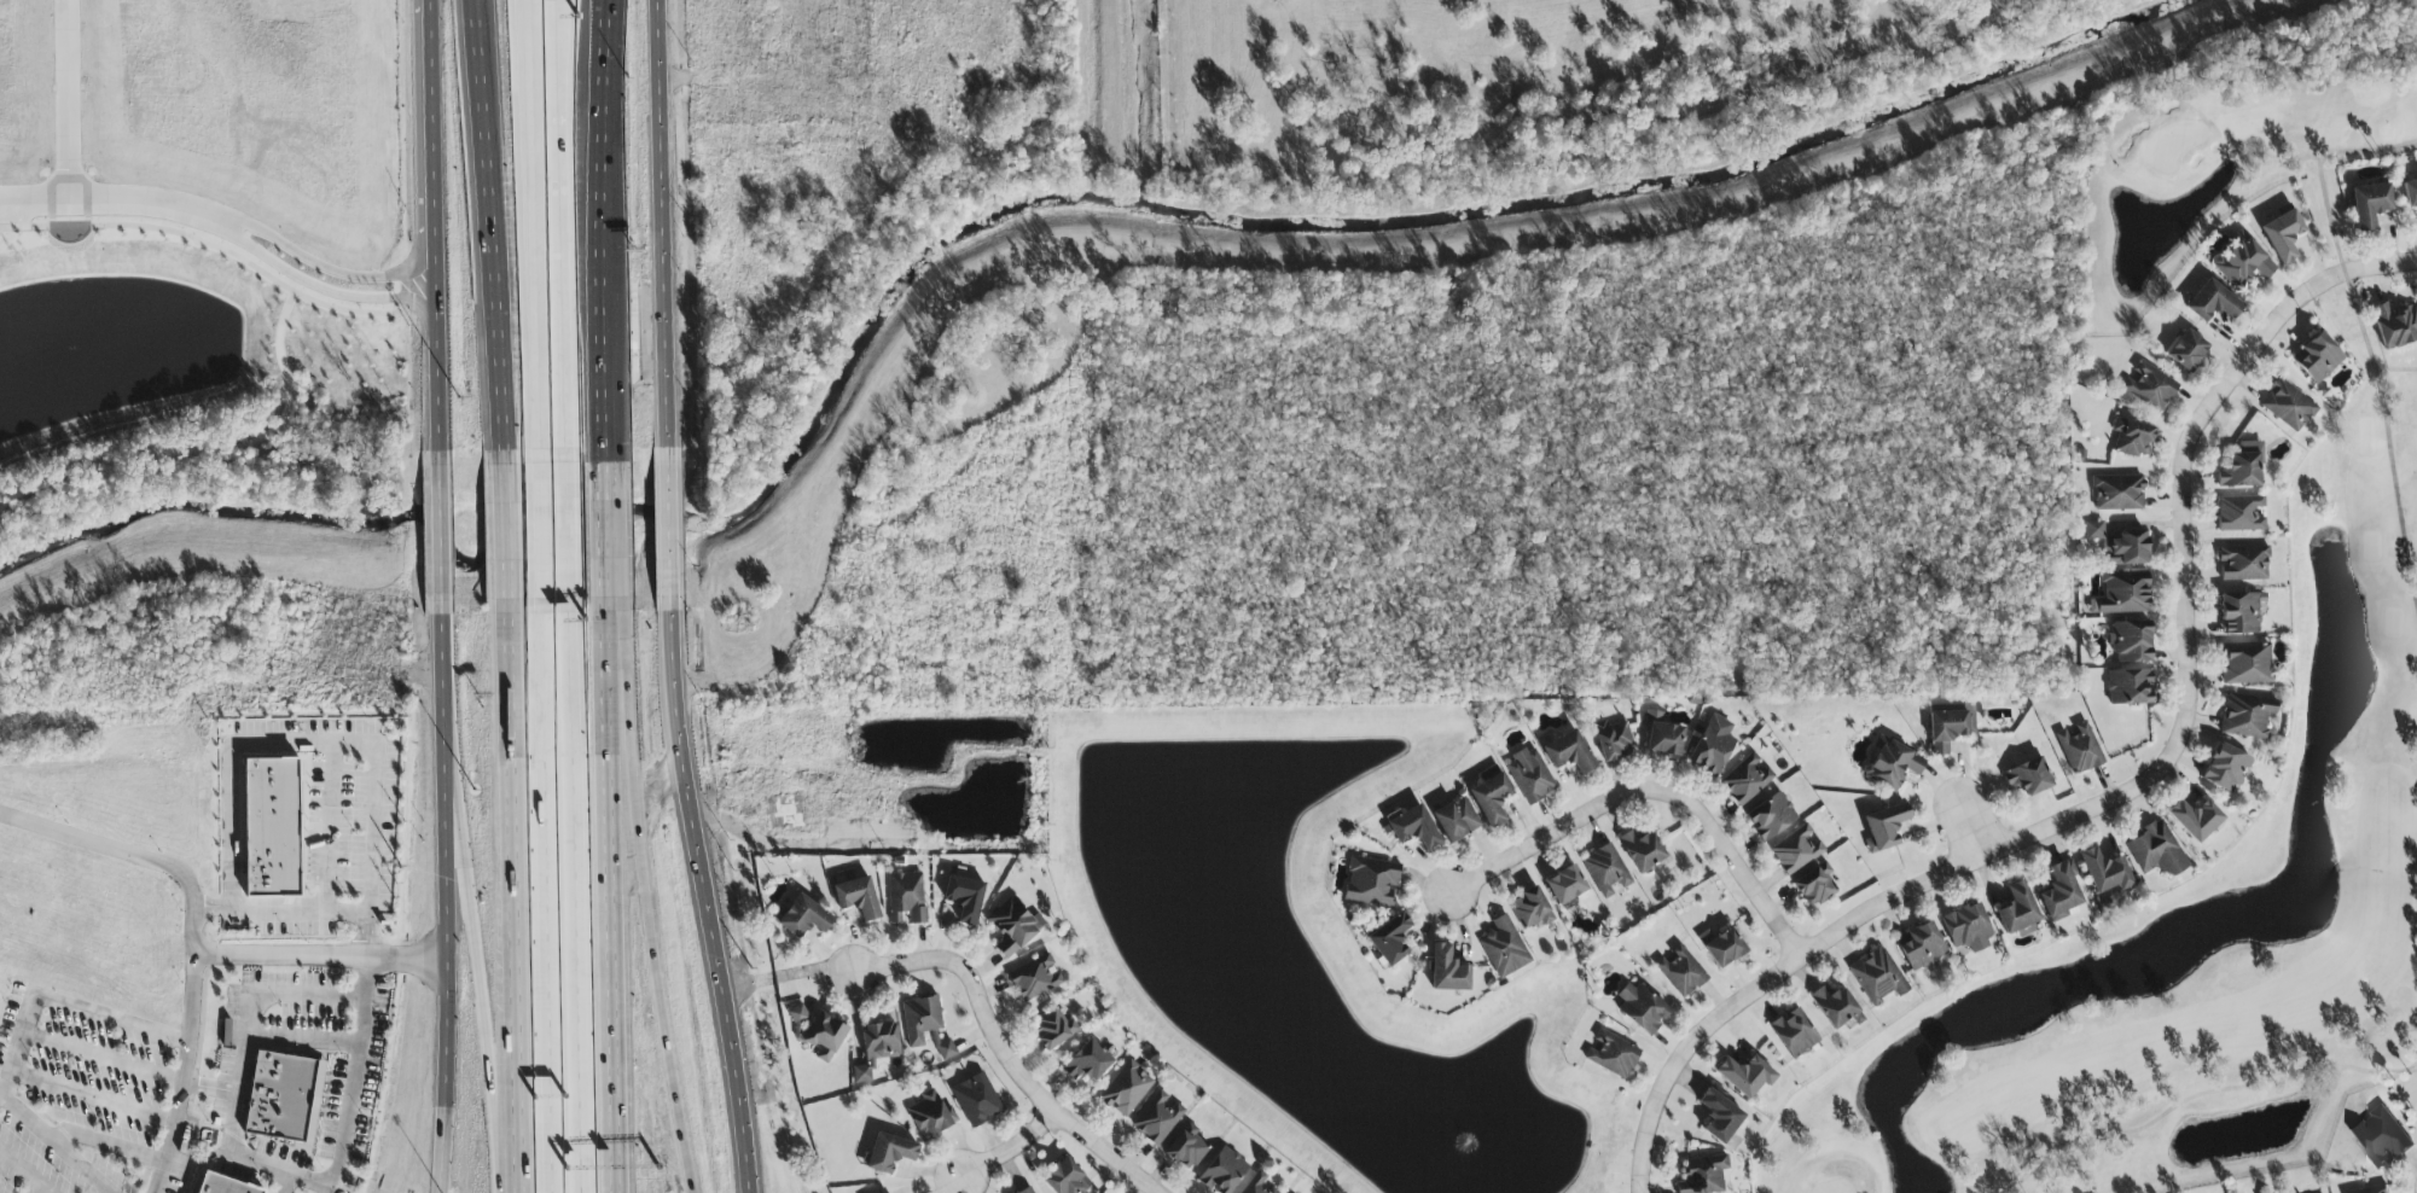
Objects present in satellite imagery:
road: (556, 62)
road: (559, 62)
park: (1522, 85)
road: (68, 103)
road: (600, 127)
road: (610, 127)
road: (429, 138)
road: (480, 153)
road: (488, 153)
river: (1669, 184)
building: (2410, 194)
building: (2369, 205)
road: (114, 206)
road: (666, 225)
road: (530, 228)
building: (2282, 235)
building: (2241, 263)
road: (2381, 266)
road: (325, 269)
road: (559, 287)
road: (320, 291)
building: (2212, 303)
building: (2394, 326)
road: (606, 351)
building: (2186, 351)
building: (2317, 359)
road: (435, 362)
road: (499, 378)
building: (2149, 386)
building: (2287, 407)
building: (2132, 438)
building: (2242, 467)
building: (2117, 494)
building: (2241, 514)
road: (567, 529)
river: (618, 529)
road: (610, 530)
road: (669, 530)
road: (535, 531)
road: (506, 533)
road: (438, 534)
building: (2119, 546)
building: (2243, 564)
building: (2122, 594)
building: (2239, 615)
park: (2353, 627)
building: (2131, 642)
building: (2247, 664)
building: (2128, 687)
road: (2190, 696)
building: (2245, 716)
building: (1948, 729)
building: (1613, 740)
building: (1663, 740)
building: (1712, 746)
road: (301, 750)
building: (2080, 750)
building: (1568, 753)
building: (1893, 767)
building: (2225, 769)
building: (1529, 776)
building: (2028, 778)
building: (1747, 780)
road: (1654, 791)
building: (1491, 796)
building: (1771, 817)
building: (1456, 820)
road: (1970, 820)
building: (2195, 820)
building: (272, 828)
building: (1412, 828)
building: (1883, 828)
road: (329, 834)
building: (1796, 850)
building: (2156, 850)
building: (1642, 851)
road: (130, 855)
building: (1605, 871)
building: (2105, 875)
building: (1371, 883)
building: (1565, 886)
building: (1814, 886)
building: (2061, 892)
building: (856, 898)
building: (906, 898)
building: (964, 898)
road: (540, 900)
road: (574, 901)
road: (709, 901)
road: (618, 902)
road: (657, 902)
road: (513, 903)
road: (446, 904)
building: (1530, 909)
building: (2016, 909)
road: (300, 918)
building: (803, 918)
building: (1013, 926)
building: (1966, 929)
road: (470, 933)
building: (1389, 941)
building: (1721, 947)
building: (1921, 947)
building: (1503, 948)
road: (321, 955)
building: (1447, 971)
building: (1680, 972)
road: (788, 974)
building: (1877, 977)
building: (1034, 978)
road: (65, 1007)
building: (1640, 1008)
building: (1836, 1008)
building: (797, 1014)
building: (920, 1019)
building: (0, 1022)
building: (1052, 1029)
building: (1794, 1034)
building: (824, 1037)
building: (876, 1048)
building: (945, 1049)
road: (1001, 1053)
road: (1686, 1053)
road: (101, 1054)
building: (1611, 1055)
building: (1086, 1063)
road: (240, 1072)
road: (353, 1075)
road: (185, 1076)
building: (1744, 1076)
road: (210, 1088)
building: (1126, 1089)
road: (89, 1095)
building: (281, 1096)
building: (976, 1100)
building: (930, 1116)
building: (1719, 1117)
building: (1157, 1118)
building: (2381, 1137)
road: (60, 1145)
road: (1009, 1148)
building: (1186, 1150)
road: (105, 1152)
building: (888, 1153)
road: (25, 1171)
building: (1221, 1172)
building: (1703, 1175)
building: (1065, 1179)
road: (283, 1183)
building: (225, 1185)
building: (1257, 1185)
building: (1028, 1191)

